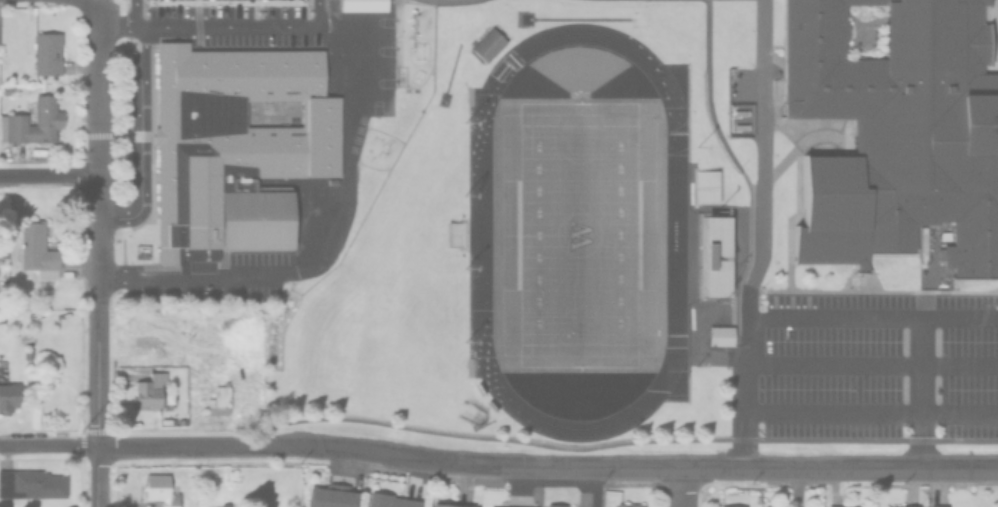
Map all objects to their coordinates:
road: (85, 4)
parking lot: (242, 21)
building: (484, 45)
building: (48, 52)
building: (6, 90)
building: (13, 119)
road: (345, 132)
building: (896, 133)
road: (144, 140)
building: (231, 149)
road: (46, 176)
building: (704, 185)
road: (94, 226)
track: (476, 233)
road: (761, 234)
park: (577, 236)
building: (37, 249)
building: (713, 254)
stadium: (709, 257)
parking lot: (227, 283)
road: (871, 319)
building: (718, 336)
road: (871, 365)
parking lot: (879, 365)
building: (146, 389)
road: (919, 392)
building: (7, 396)
building: (217, 398)
road: (871, 415)
road: (49, 445)
road: (547, 465)
road: (97, 476)
building: (31, 484)
road: (678, 487)
building: (156, 488)
building: (328, 495)
building: (386, 500)
building: (222, 504)
building: (447, 504)
building: (554, 504)
building: (624, 504)
building: (731, 505)
building: (775, 505)
building: (840, 505)
building: (908, 505)
building: (937, 505)
building: (890, 506)

